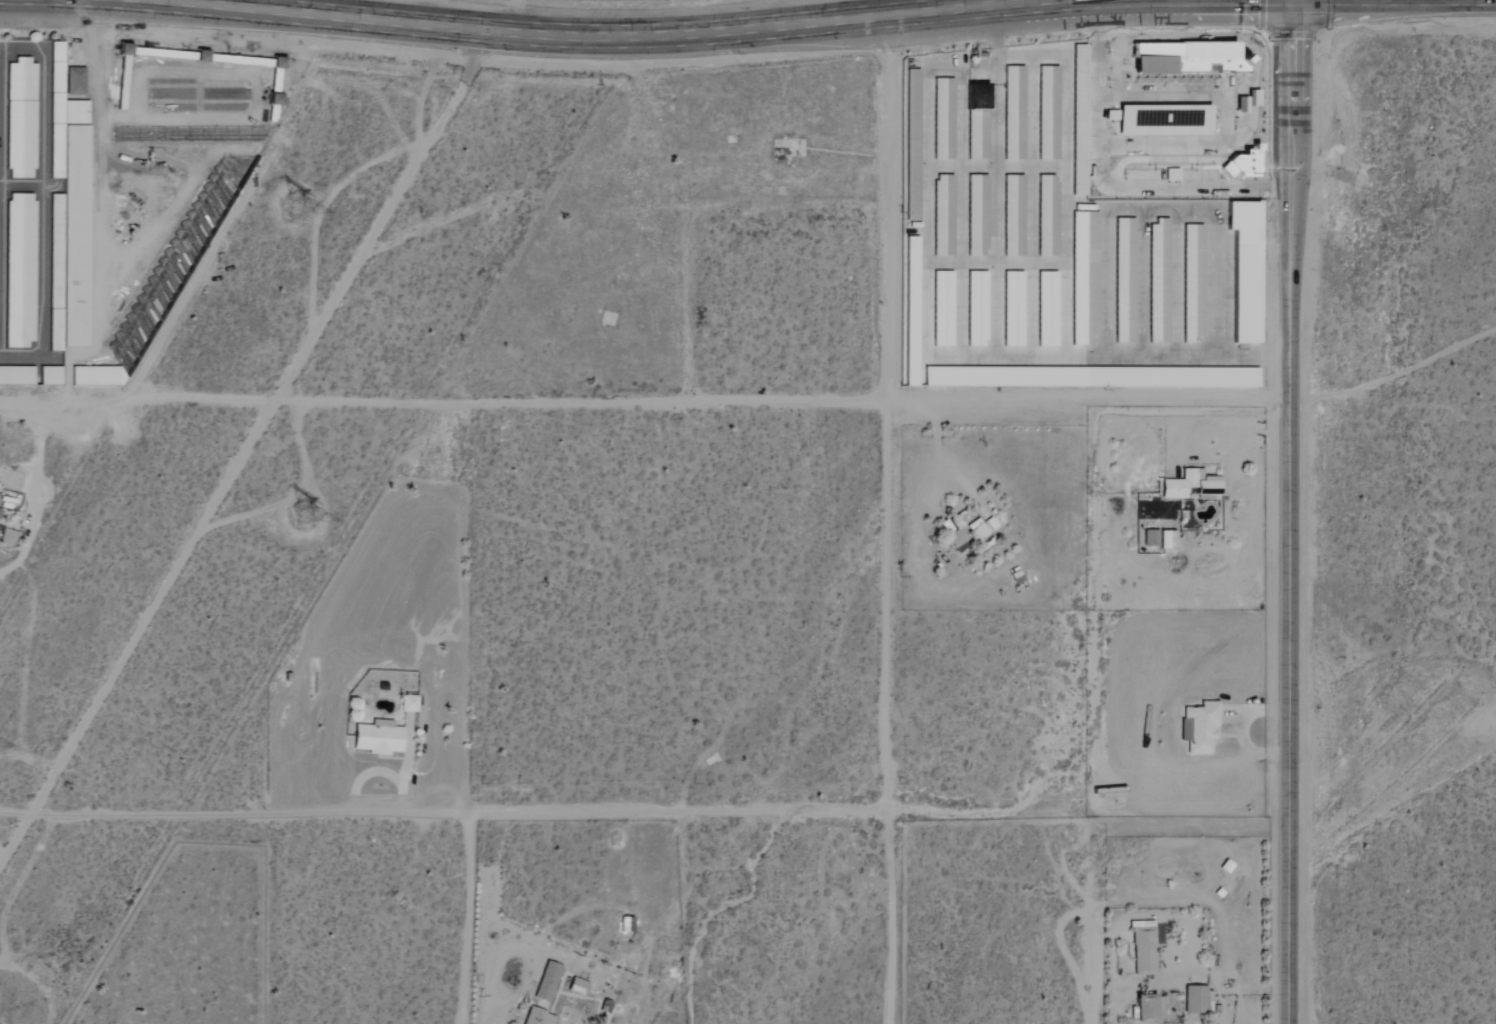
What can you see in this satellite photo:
road: (586, 42)
road: (927, 46)
building: (58, 64)
road: (944, 73)
road: (1102, 84)
building: (1015, 113)
building: (1050, 113)
building: (21, 119)
building: (945, 119)
building: (979, 122)
building: (914, 145)
building: (1245, 164)
road: (1031, 168)
road: (1066, 172)
road: (21, 186)
road: (43, 202)
road: (1031, 208)
power tower: (300, 210)
building: (945, 215)
building: (979, 216)
building: (1015, 216)
building: (1049, 216)
road: (1108, 250)
road: (927, 262)
road: (961, 262)
road: (961, 264)
road: (1031, 265)
building: (21, 271)
building: (1248, 271)
building: (1087, 278)
building: (1127, 281)
building: (1160, 282)
building: (1194, 283)
road: (1144, 286)
road: (681, 309)
building: (944, 309)
building: (979, 309)
building: (1015, 309)
building: (1049, 309)
building: (913, 312)
road: (1095, 359)
road: (1394, 369)
building: (17, 376)
building: (51, 376)
building: (1211, 378)
road: (646, 406)
road: (257, 437)
road: (33, 485)
building: (1192, 485)
road: (1292, 512)
road: (888, 524)
power tower: (307, 527)
building: (979, 531)
building: (1152, 538)
building: (958, 539)
building: (1169, 540)
road: (11, 568)
building: (410, 704)
road: (1102, 713)
building: (1201, 727)
building: (379, 738)
road: (645, 809)
road: (466, 918)
building: (628, 924)
building: (1146, 949)
building: (548, 981)
building: (579, 987)
building: (1197, 999)
building: (1149, 1007)
building: (539, 1017)

